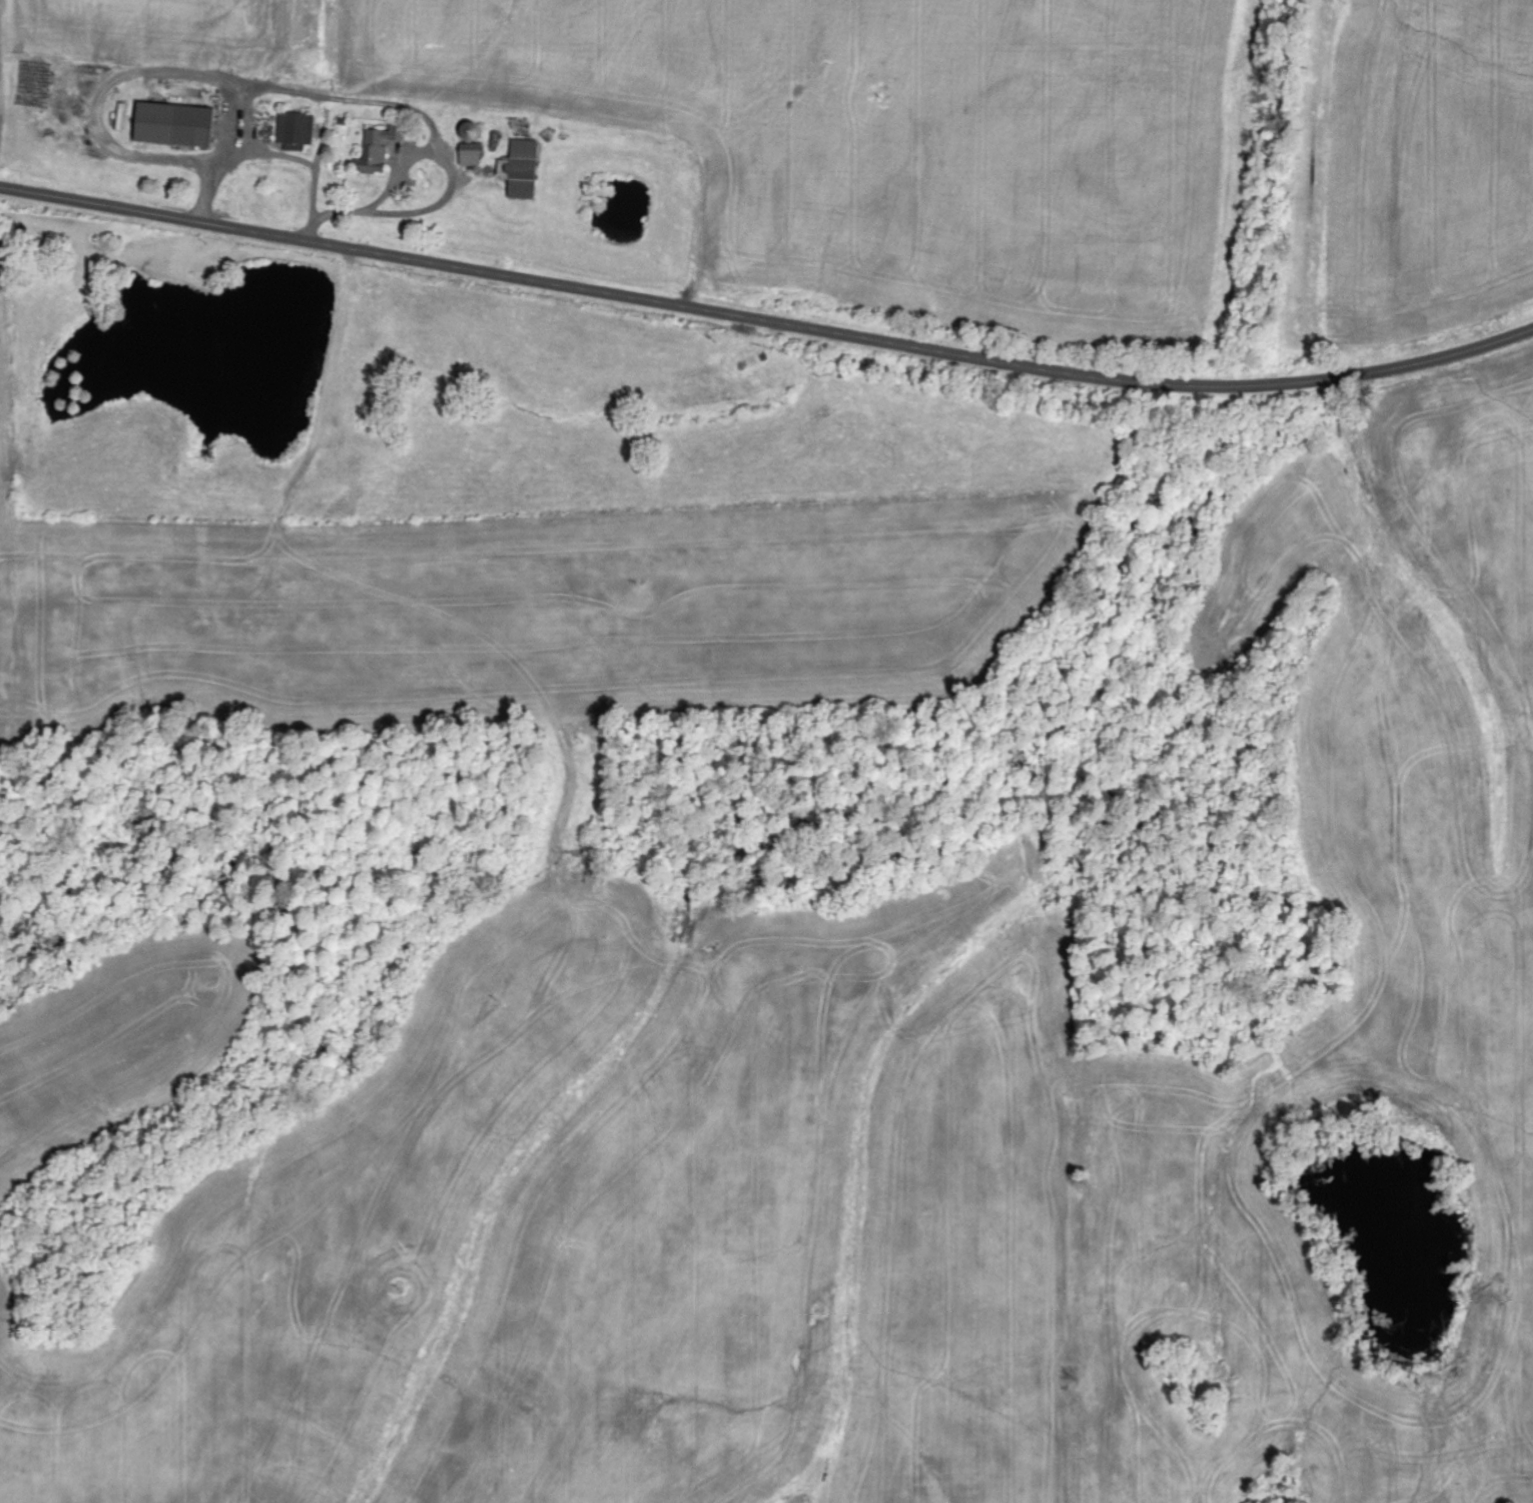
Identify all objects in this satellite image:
crop: (0, 19)
building: (175, 125)
building: (296, 131)
building: (380, 148)
building: (472, 155)
building: (524, 170)
road: (766, 320)

